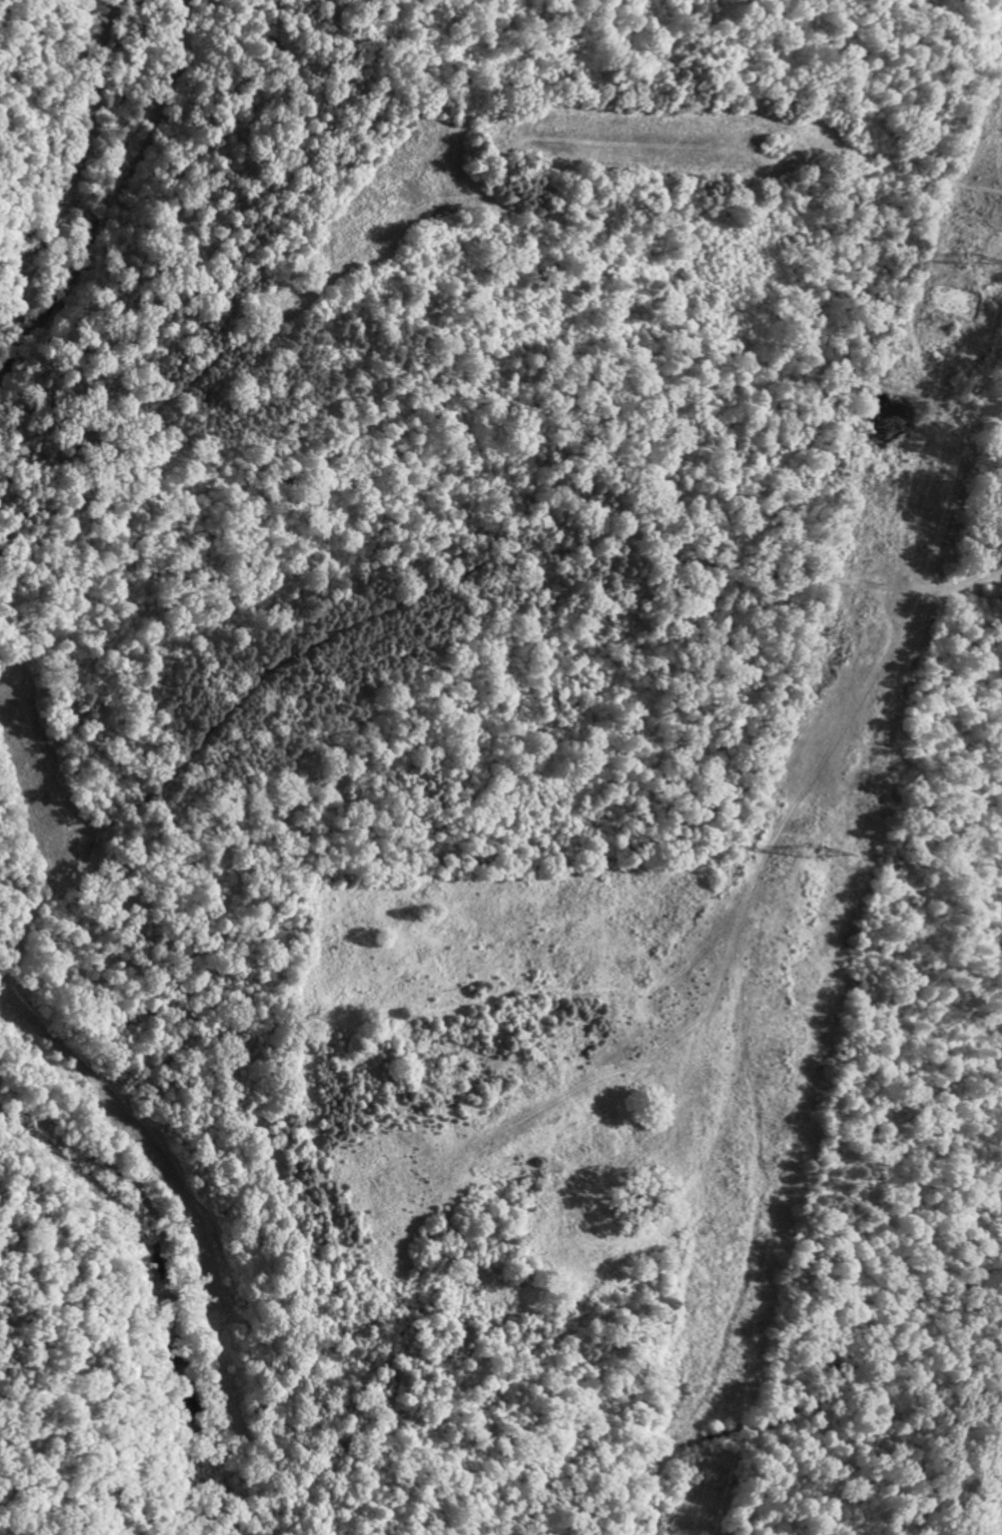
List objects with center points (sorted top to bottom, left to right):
power tower: (984, 261)
power tower: (813, 849)

